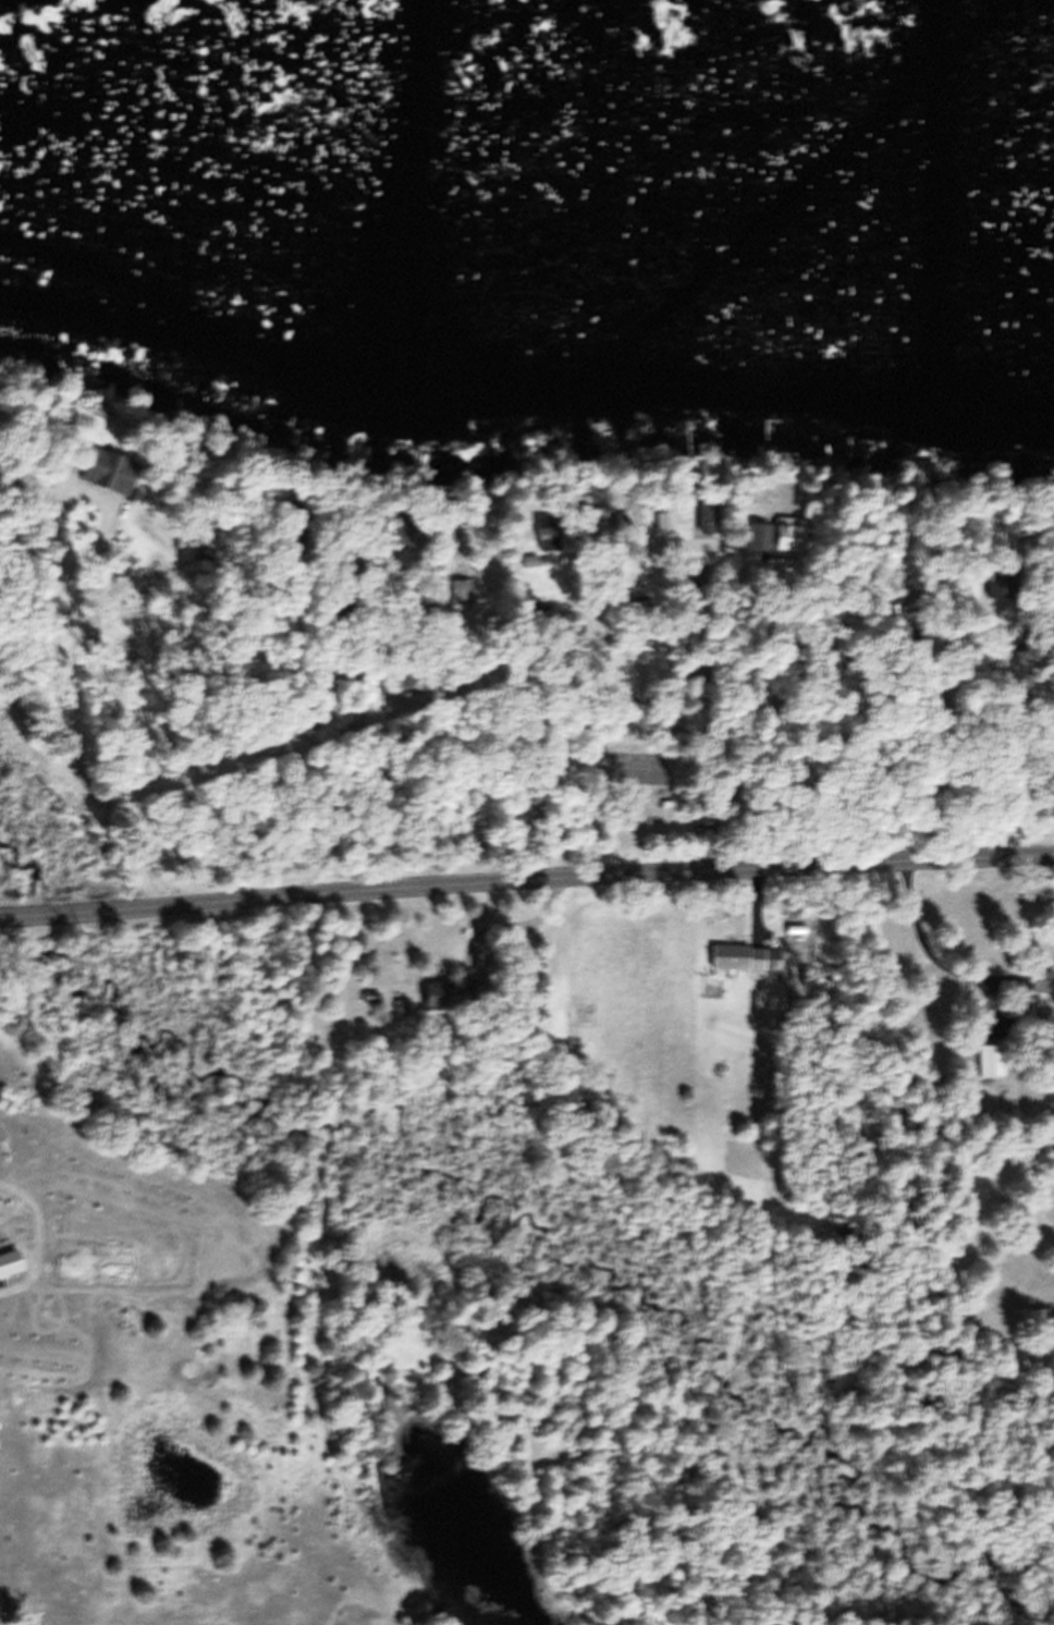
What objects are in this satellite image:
building: (462, 601)
road: (48, 652)
road: (526, 879)
building: (733, 968)
building: (1043, 991)
building: (445, 1009)
building: (995, 1071)

